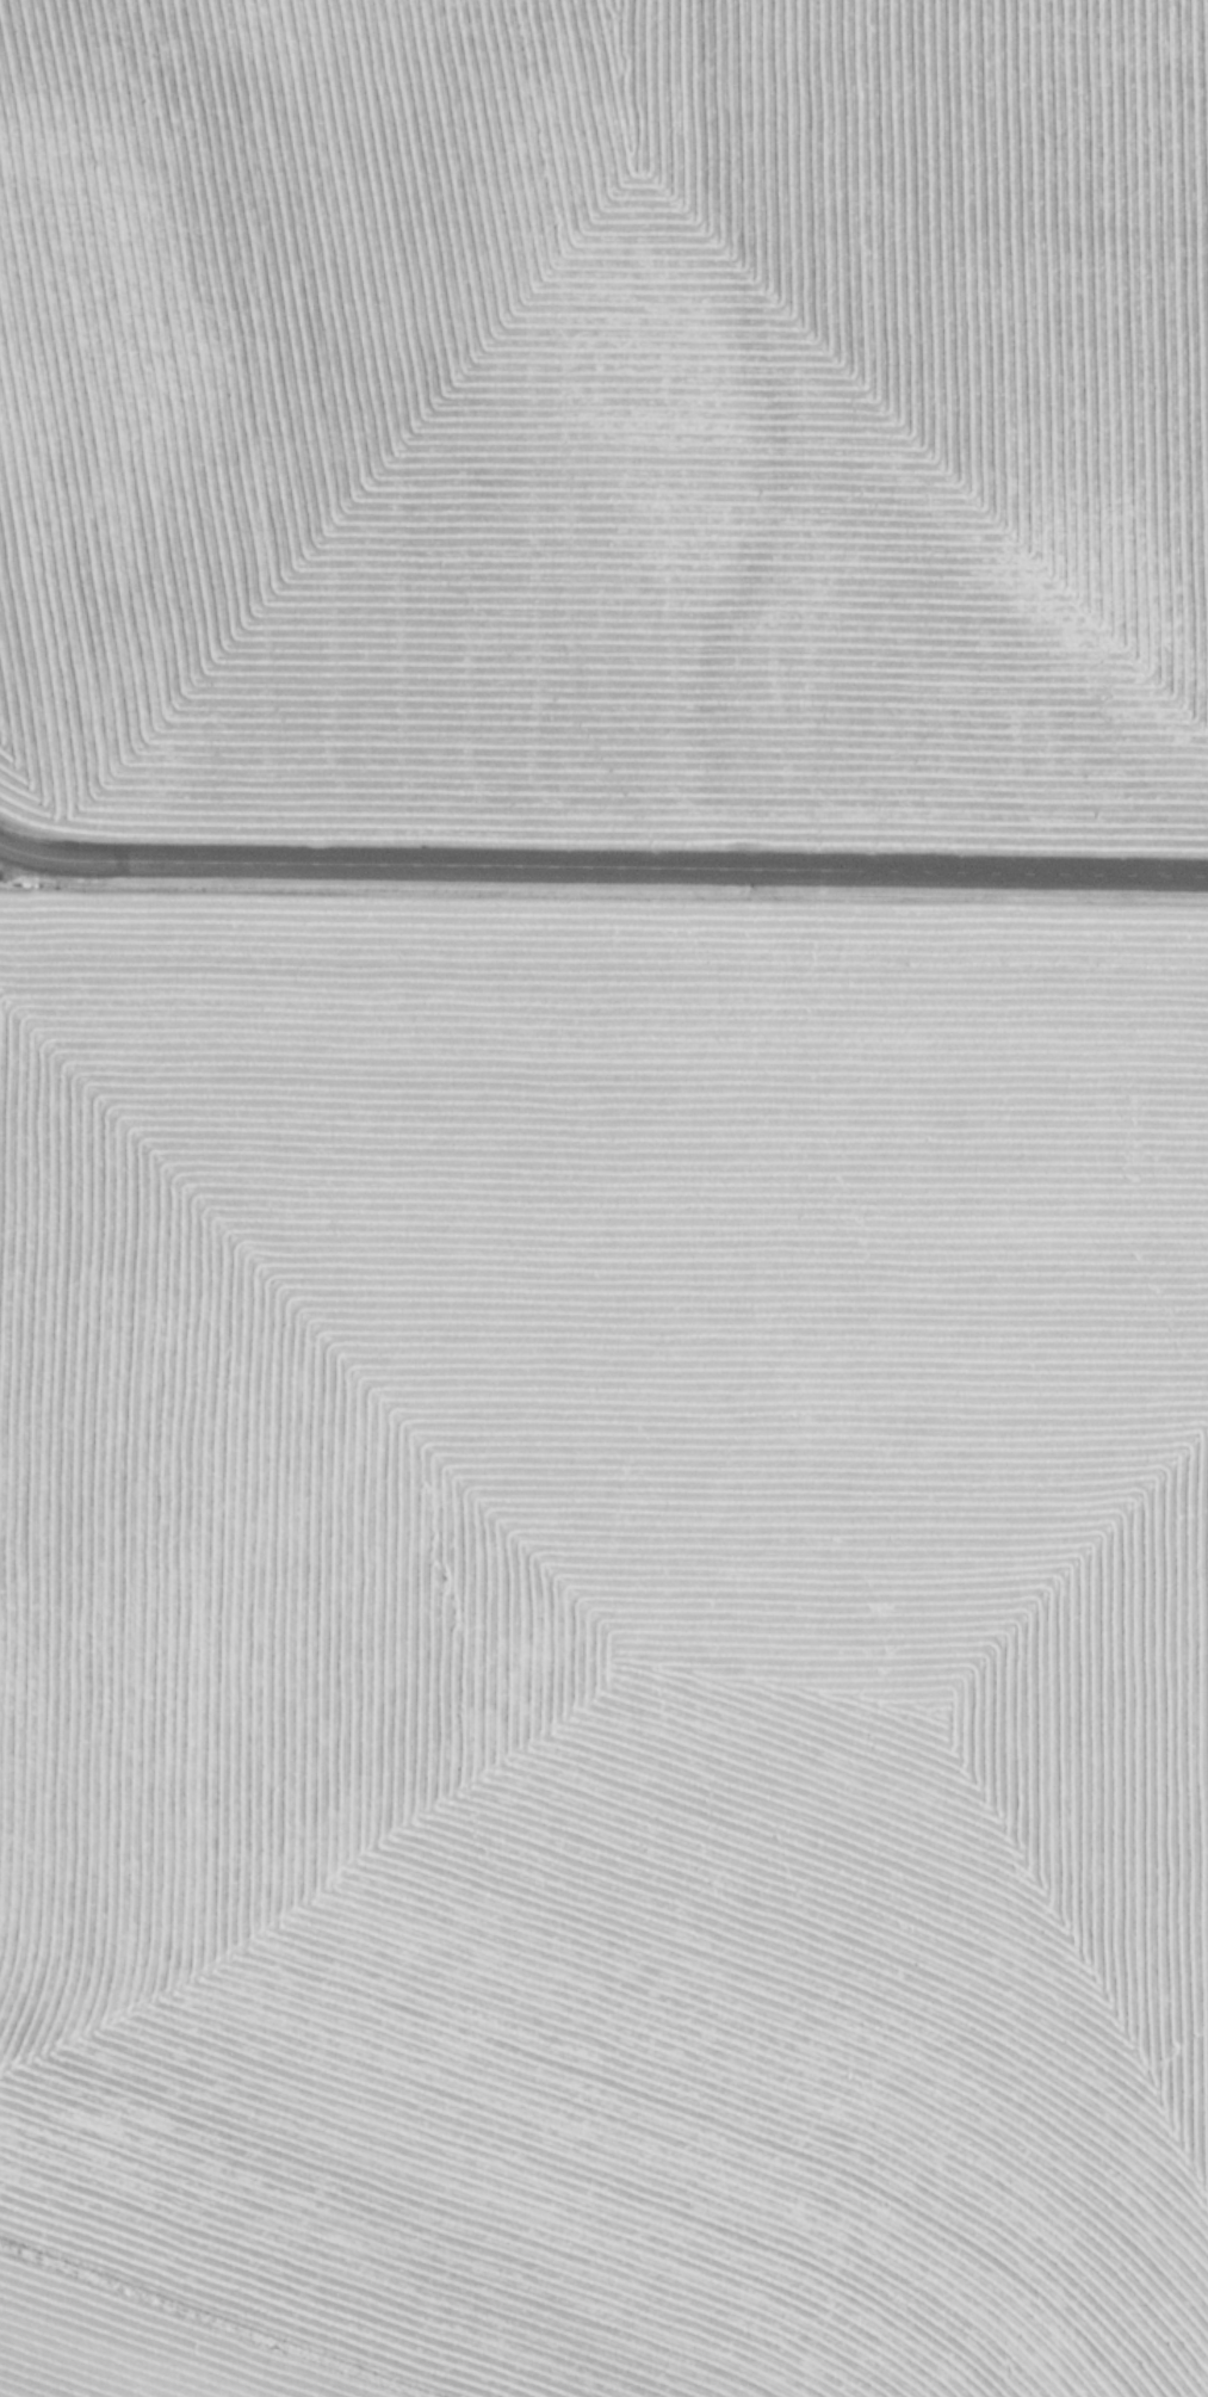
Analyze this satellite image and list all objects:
crop: (606, 404)
road: (603, 866)
crop: (603, 1669)

